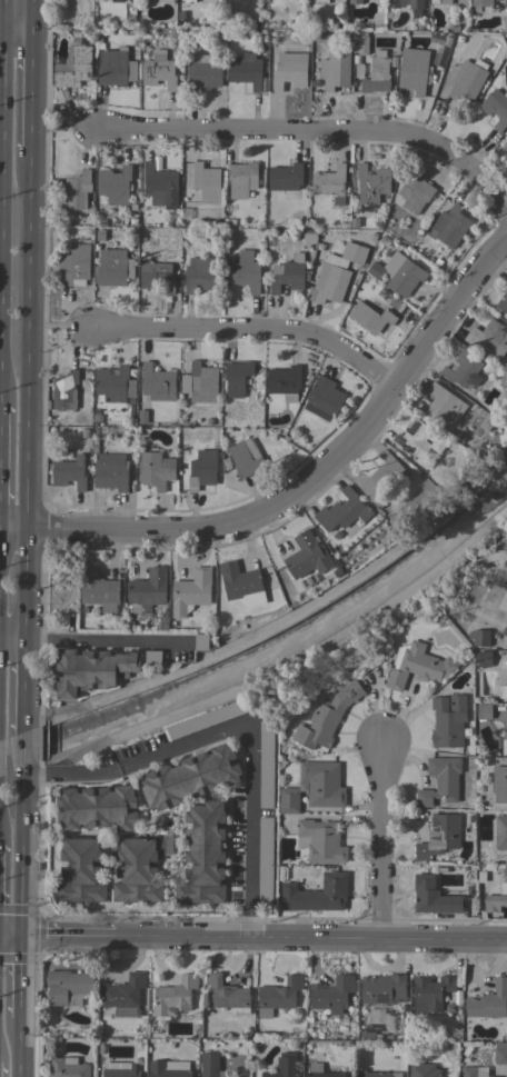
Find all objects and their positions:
building: (118, 1)
building: (189, 1)
building: (320, 1)
building: (355, 2)
building: (445, 2)
building: (406, 3)
building: (481, 3)
road: (30, 17)
building: (505, 23)
road: (14, 34)
building: (360, 42)
building: (73, 67)
building: (116, 68)
road: (1, 69)
building: (159, 70)
building: (246, 70)
building: (335, 70)
building: (203, 71)
building: (290, 71)
building: (412, 72)
building: (377, 73)
building: (468, 79)
road: (29, 94)
building: (496, 108)
road: (312, 134)
building: (505, 153)
building: (286, 178)
building: (241, 179)
building: (206, 183)
building: (330, 183)
building: (372, 183)
building: (115, 185)
building: (160, 186)
building: (78, 190)
building: (412, 191)
building: (450, 225)
building: (99, 235)
building: (354, 253)
building: (74, 266)
building: (111, 268)
building: (286, 271)
building: (201, 273)
building: (245, 273)
building: (398, 273)
building: (156, 276)
building: (328, 283)
building: (506, 283)
building: (503, 301)
building: (371, 316)
road: (246, 328)
building: (489, 338)
road: (27, 342)
building: (463, 369)
building: (237, 378)
building: (157, 382)
building: (285, 382)
building: (113, 383)
building: (200, 383)
building: (64, 390)
building: (324, 398)
building: (443, 407)
building: (486, 422)
rooftop solar panel: (412, 428)
building: (418, 439)
rooftop solar panel: (398, 441)
rooftop solar panel: (410, 451)
building: (245, 458)
building: (156, 469)
building: (201, 470)
building: (69, 472)
road: (312, 475)
building: (110, 477)
building: (382, 479)
building: (342, 511)
road: (12, 531)
building: (307, 556)
building: (241, 584)
road: (24, 585)
building: (99, 589)
building: (147, 589)
building: (191, 591)
building: (504, 631)
road: (12, 638)
building: (480, 638)
road: (92, 640)
road: (176, 642)
building: (201, 642)
building: (152, 657)
building: (484, 659)
building: (416, 666)
building: (90, 670)
building: (504, 687)
road: (22, 688)
building: (484, 711)
building: (327, 717)
building: (209, 718)
building: (448, 721)
road: (237, 726)
building: (504, 744)
building: (267, 765)
road: (21, 772)
building: (191, 778)
building: (440, 781)
building: (322, 784)
building: (498, 787)
building: (289, 800)
building: (98, 808)
building: (500, 832)
building: (440, 836)
building: (320, 841)
road: (382, 846)
building: (203, 856)
building: (266, 861)
building: (137, 869)
road: (18, 871)
building: (80, 871)
building: (317, 895)
building: (434, 897)
building: (497, 897)
road: (252, 941)
road: (16, 977)
building: (68, 987)
building: (382, 988)
building: (431, 993)
building: (332, 994)
building: (227, 995)
building: (123, 996)
building: (175, 996)
building: (278, 996)
building: (203, 999)
building: (489, 1001)
building: (506, 1027)
building: (369, 1036)
road: (16, 1048)
building: (500, 1053)
building: (210, 1065)
building: (284, 1066)
building: (68, 1067)
building: (169, 1069)
building: (122, 1070)
building: (424, 1070)
building: (320, 1071)
building: (474, 1071)
building: (379, 1075)

